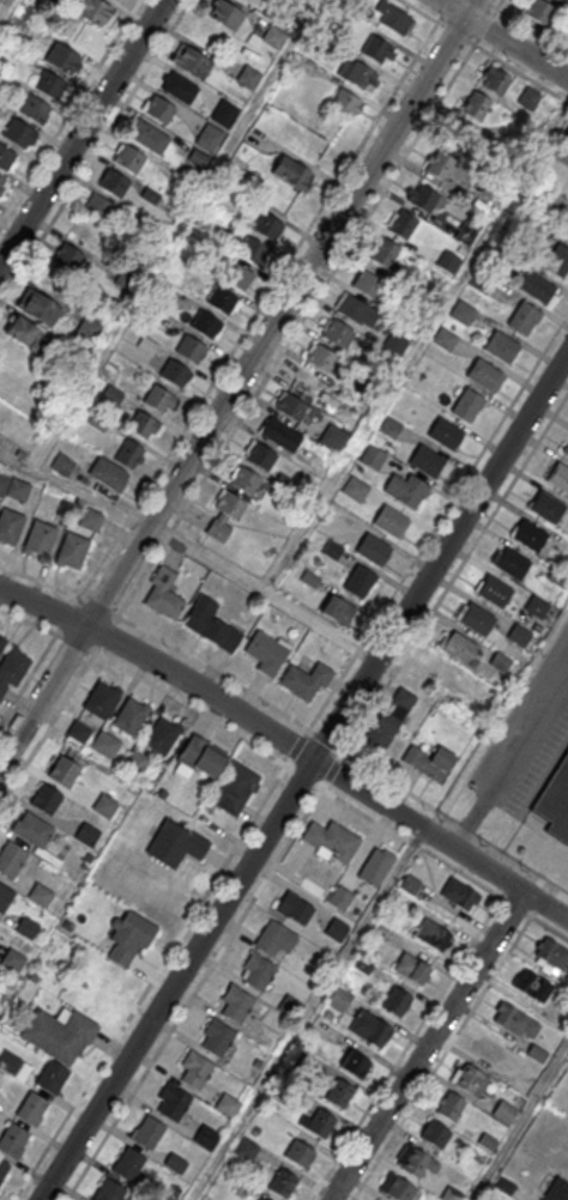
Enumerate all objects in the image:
building: (120, 0)
building: (558, 0)
road: (490, 4)
road: (500, 4)
building: (538, 11)
building: (95, 12)
building: (225, 13)
building: (393, 18)
building: (270, 37)
road: (504, 40)
building: (376, 49)
building: (62, 59)
building: (191, 60)
building: (357, 74)
building: (494, 81)
building: (50, 86)
building: (180, 89)
building: (527, 99)
building: (345, 103)
building: (476, 107)
building: (35, 110)
building: (161, 110)
road: (70, 113)
building: (224, 114)
road: (81, 132)
building: (18, 133)
building: (146, 135)
building: (513, 135)
building: (564, 138)
building: (209, 139)
building: (6, 158)
building: (129, 159)
building: (442, 164)
building: (291, 174)
building: (0, 180)
building: (114, 184)
building: (421, 198)
building: (99, 208)
building: (268, 225)
building: (401, 225)
building: (566, 230)
building: (465, 234)
building: (252, 250)
building: (386, 255)
building: (68, 259)
building: (557, 260)
building: (448, 262)
building: (237, 274)
building: (367, 284)
building: (534, 285)
building: (222, 298)
road: (265, 299)
building: (38, 308)
building: (356, 310)
road: (307, 313)
building: (522, 316)
building: (207, 323)
building: (22, 332)
building: (336, 332)
building: (445, 339)
building: (395, 344)
building: (501, 345)
building: (191, 349)
building: (321, 357)
building: (175, 372)
building: (484, 374)
road: (237, 381)
building: (159, 399)
building: (467, 404)
building: (291, 408)
building: (144, 425)
building: (389, 428)
building: (445, 435)
building: (282, 436)
building: (333, 437)
building: (129, 453)
building: (567, 453)
building: (261, 457)
building: (373, 459)
building: (427, 462)
building: (62, 465)
building: (108, 474)
building: (558, 478)
building: (246, 481)
building: (2, 485)
building: (18, 490)
building: (355, 490)
building: (405, 491)
road: (89, 497)
building: (546, 508)
building: (225, 516)
building: (91, 520)
road: (437, 520)
building: (392, 523)
building: (10, 526)
building: (530, 537)
building: (40, 539)
building: (72, 551)
building: (373, 551)
building: (513, 564)
building: (359, 580)
road: (265, 587)
road: (445, 592)
building: (494, 592)
building: (163, 594)
building: (337, 608)
building: (476, 620)
road: (28, 622)
building: (210, 623)
road: (159, 638)
building: (2, 644)
building: (460, 649)
building: (266, 651)
road: (113, 662)
building: (12, 669)
road: (28, 679)
building: (306, 681)
road: (217, 697)
building: (102, 701)
building: (131, 717)
building: (382, 729)
building: (78, 731)
building: (162, 737)
building: (105, 745)
building: (197, 757)
road: (510, 758)
building: (135, 762)
building: (429, 762)
building: (64, 772)
road: (304, 776)
building: (234, 788)
building: (47, 800)
building: (555, 802)
building: (104, 807)
building: (32, 831)
building: (87, 835)
building: (331, 842)
building: (175, 846)
building: (11, 860)
building: (375, 868)
road: (495, 873)
road: (217, 875)
building: (459, 895)
building: (40, 896)
building: (5, 898)
building: (339, 899)
building: (295, 910)
building: (26, 928)
building: (336, 931)
building: (433, 937)
building: (129, 938)
building: (274, 939)
building: (551, 953)
building: (13, 960)
building: (412, 969)
building: (258, 972)
building: (532, 987)
road: (194, 995)
building: (339, 1000)
building: (395, 1002)
building: (290, 1004)
building: (236, 1005)
building: (515, 1022)
building: (369, 1030)
road: (415, 1034)
building: (59, 1035)
building: (217, 1038)
road: (453, 1040)
road: (427, 1046)
building: (489, 1051)
building: (355, 1066)
building: (195, 1071)
building: (52, 1078)
building: (470, 1080)
building: (339, 1095)
building: (226, 1104)
building: (174, 1105)
building: (451, 1108)
building: (31, 1109)
building: (504, 1113)
road: (520, 1125)
building: (320, 1126)
building: (147, 1133)
building: (435, 1137)
building: (206, 1138)
building: (12, 1141)
building: (244, 1150)
building: (298, 1156)
building: (417, 1162)
building: (175, 1164)
building: (128, 1165)
building: (2, 1171)
building: (282, 1184)
building: (397, 1189)
building: (557, 1190)
building: (109, 1192)
building: (261, 1198)

